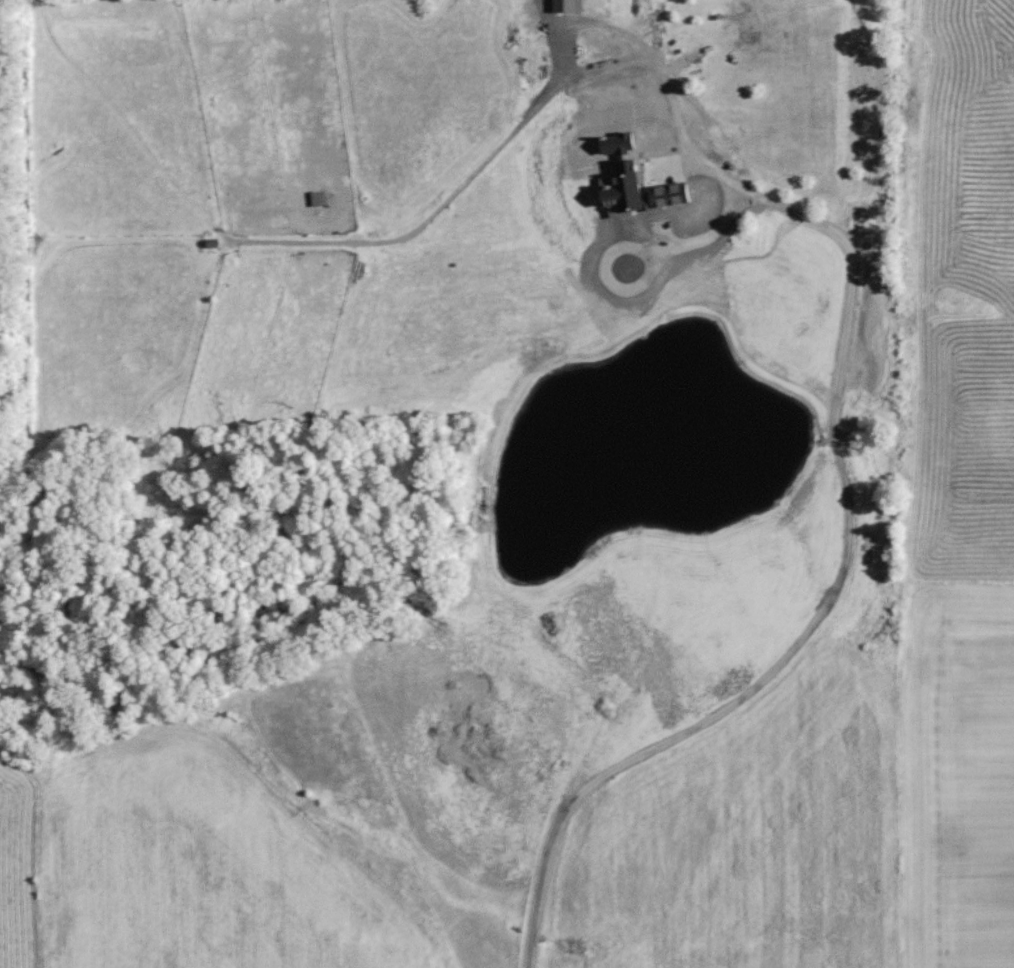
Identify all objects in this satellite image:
building: (566, 5)
road: (683, 138)
building: (630, 180)
road: (614, 280)
road: (848, 562)

